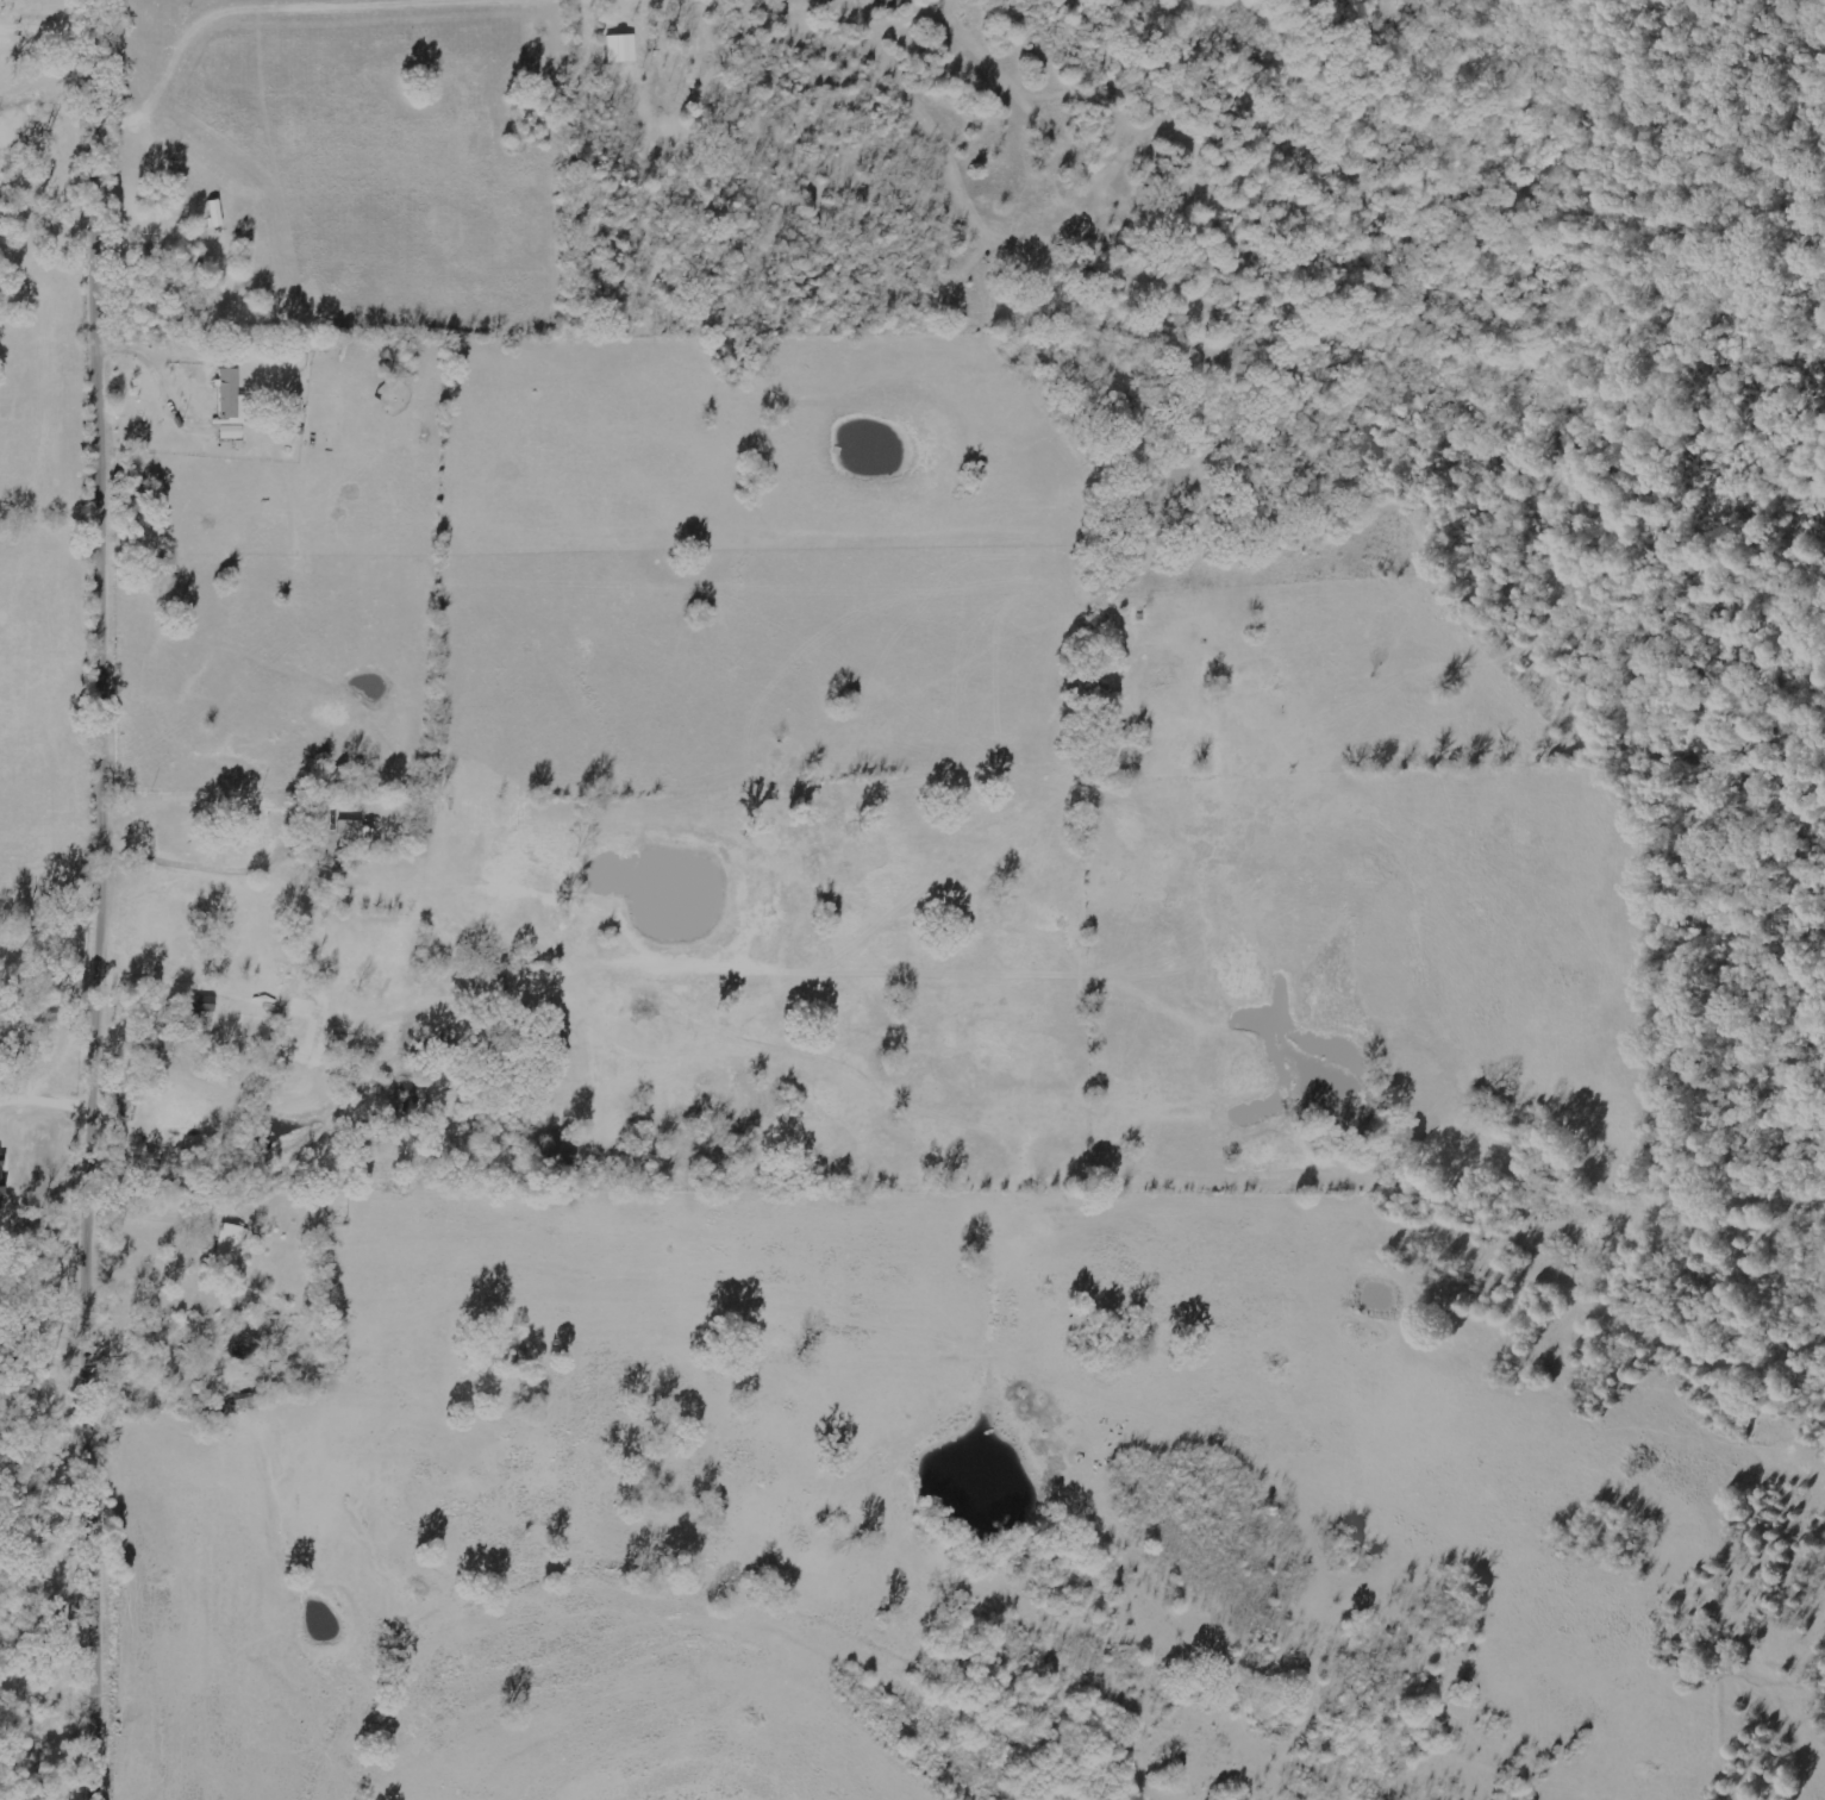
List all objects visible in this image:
building: (623, 48)
building: (217, 213)
building: (232, 405)
road: (111, 900)
building: (286, 979)
building: (205, 1002)
building: (231, 1243)

